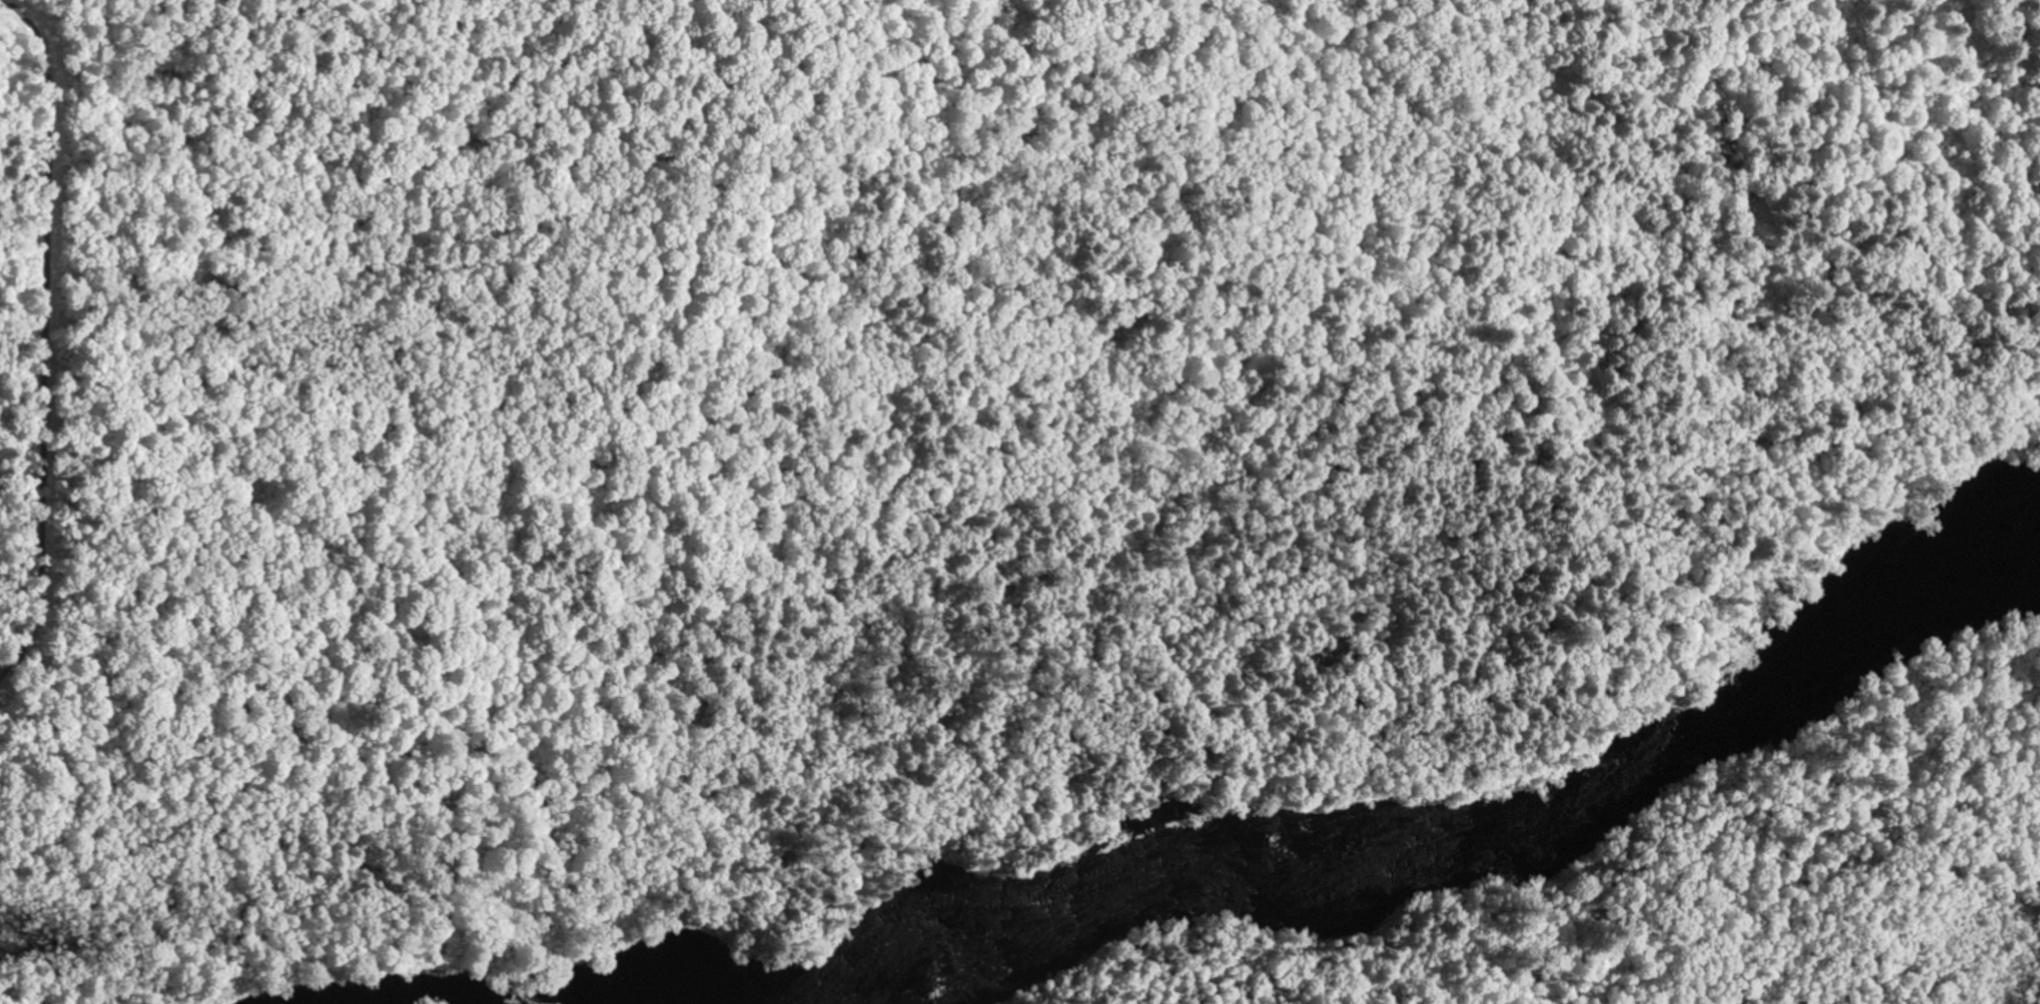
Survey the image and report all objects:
river: (1460, 852)

